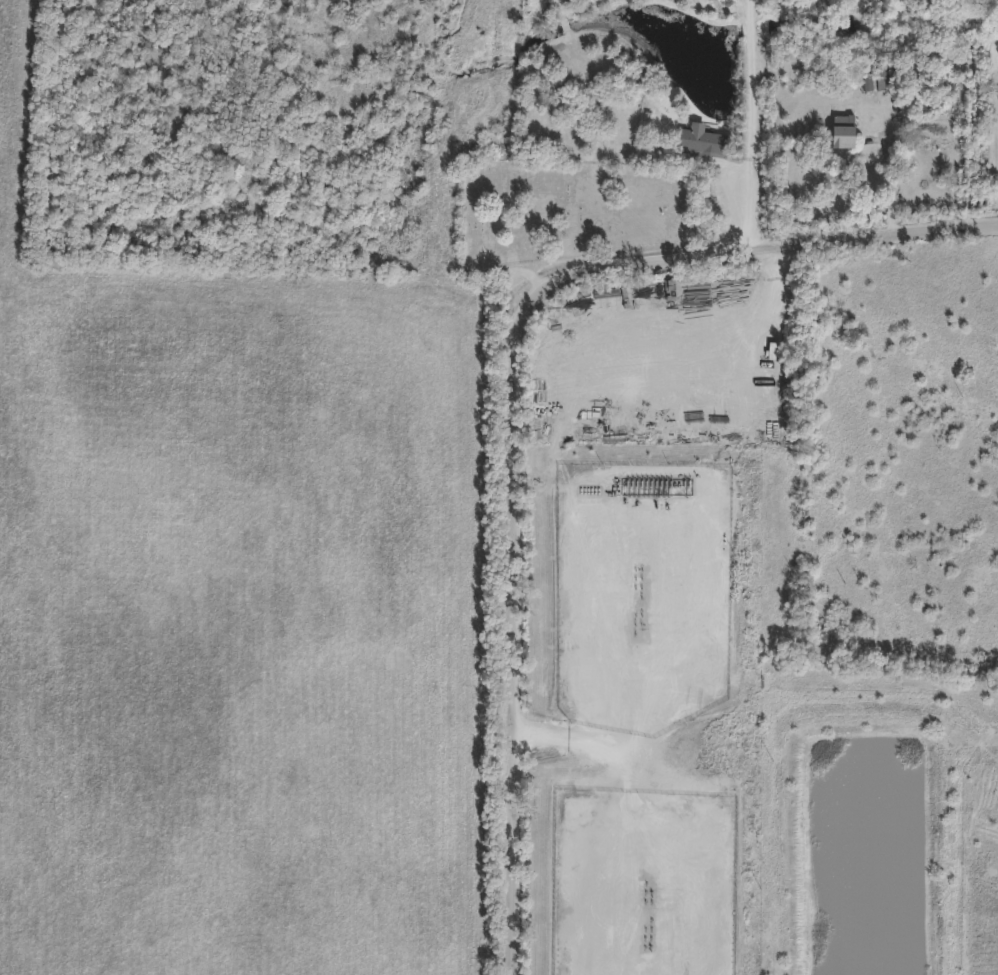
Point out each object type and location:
road: (756, 79)
building: (880, 80)
building: (845, 134)
building: (704, 143)
road: (757, 204)
park: (573, 213)
road: (514, 395)
building: (563, 813)
building: (642, 848)

